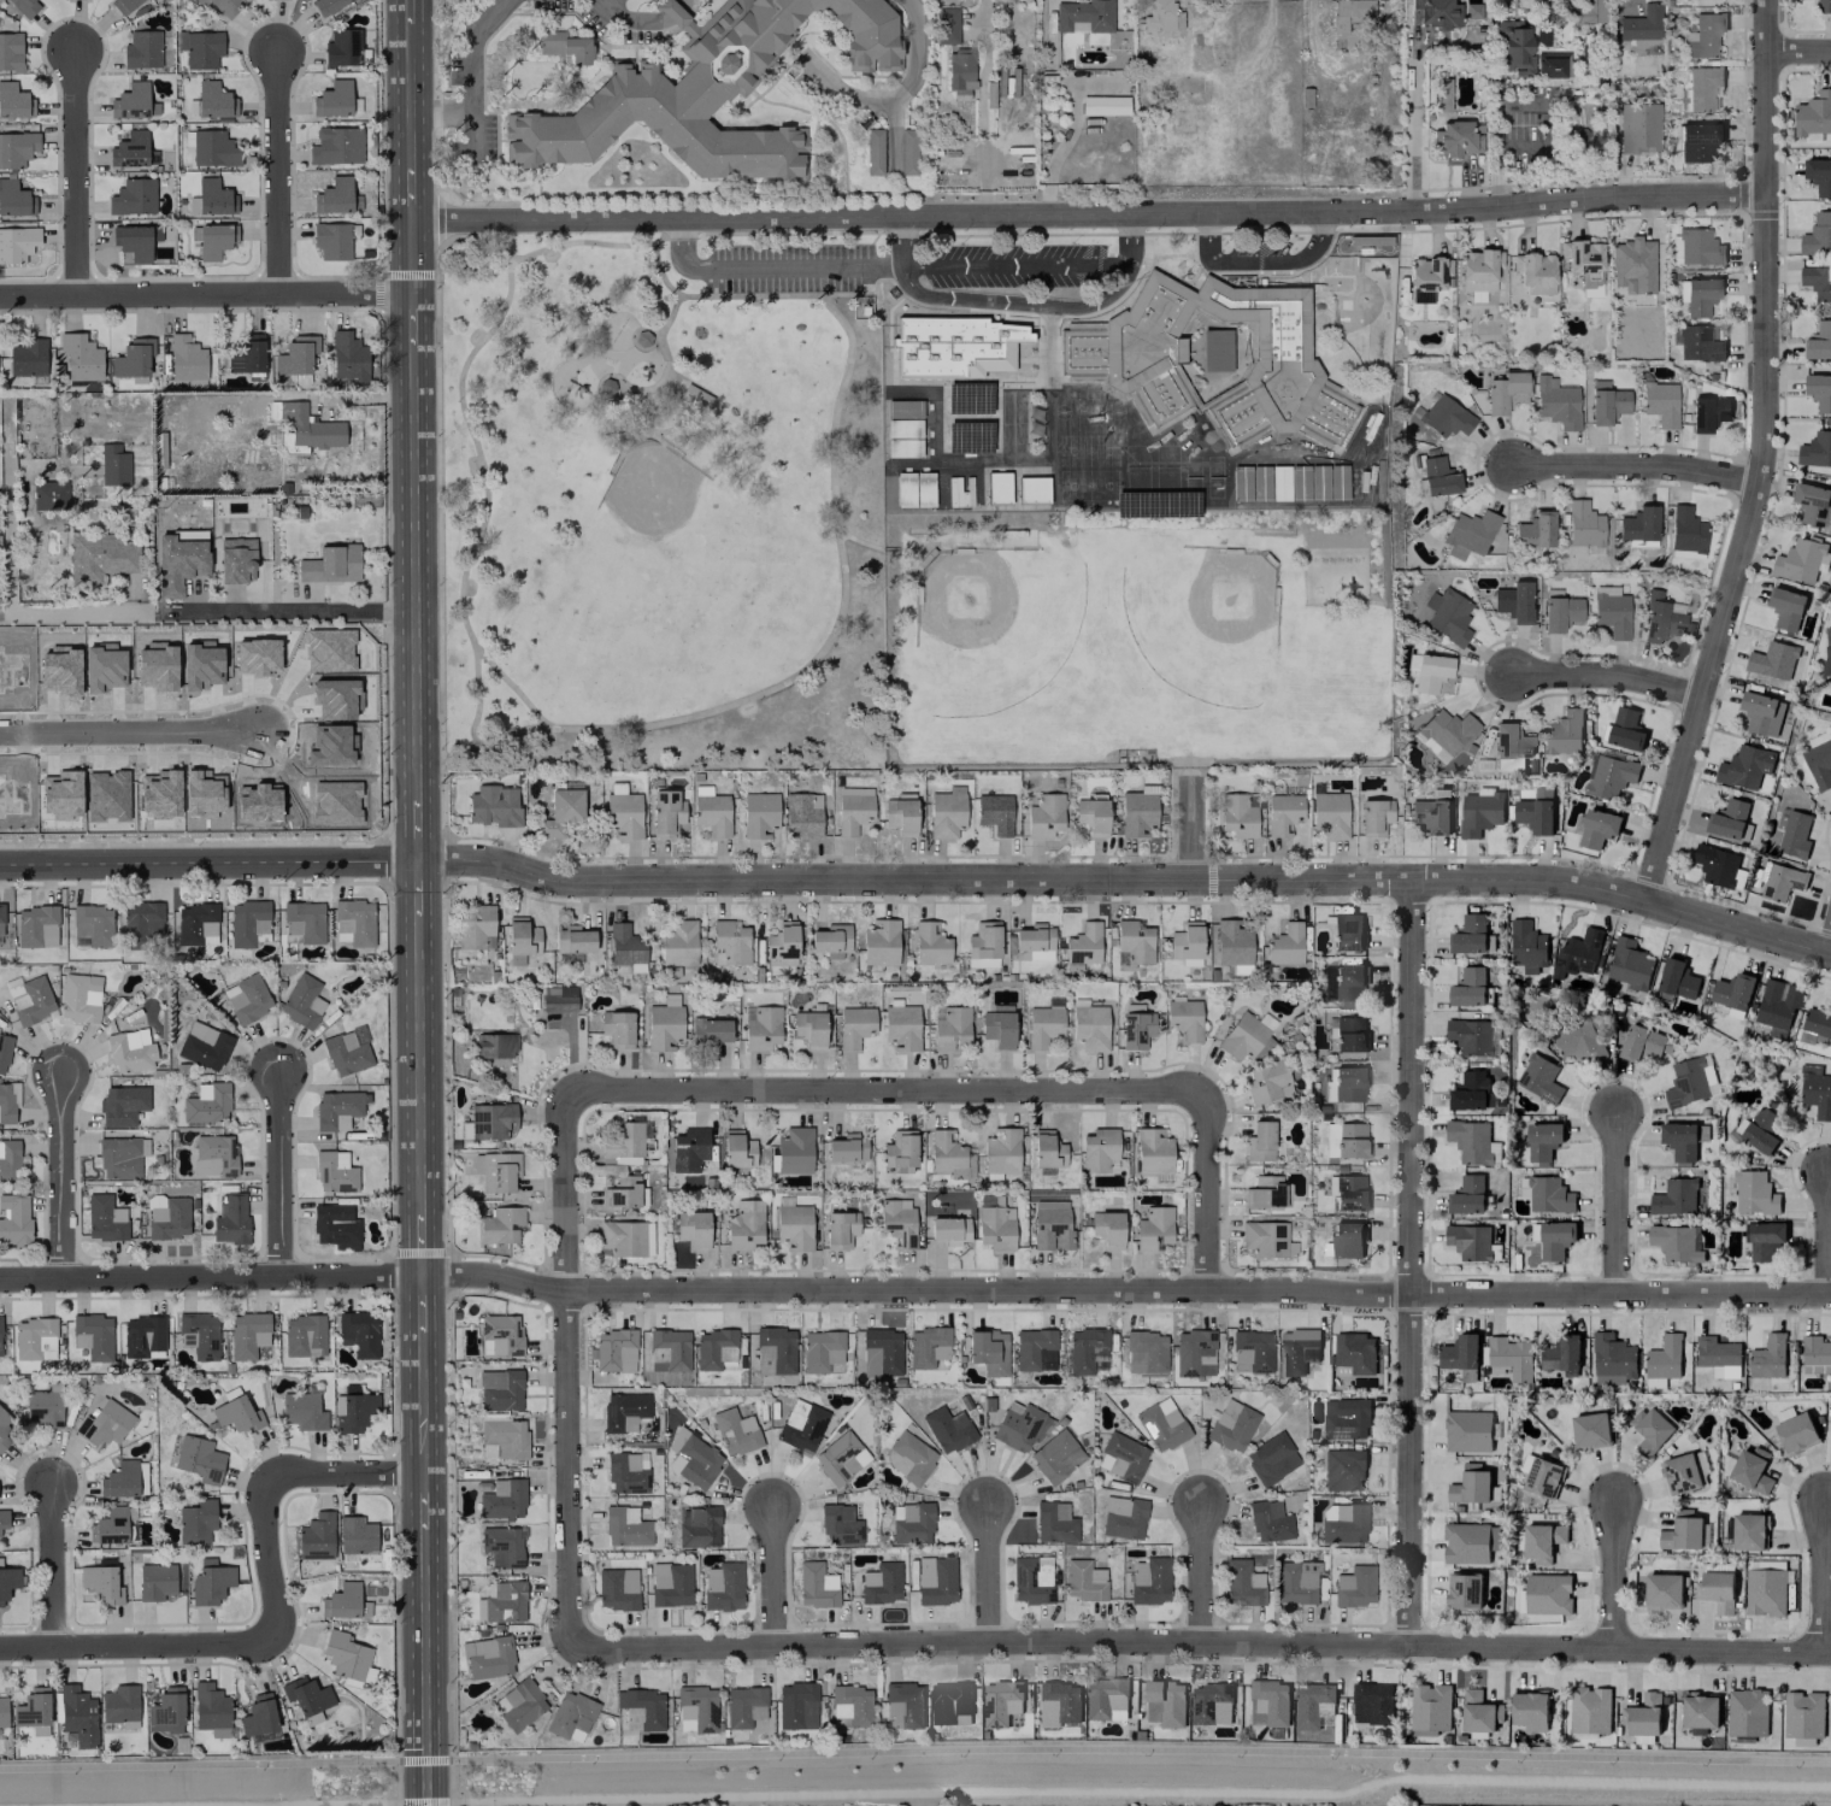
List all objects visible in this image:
building: (123, 5)
building: (222, 5)
building: (328, 5)
building: (23, 6)
road: (612, 6)
building: (1824, 6)
building: (1472, 8)
building: (1586, 11)
building: (1349, 13)
building: (1435, 13)
building: (1161, 14)
building: (1083, 16)
building: (1639, 23)
building: (946, 25)
building: (1542, 35)
building: (1705, 35)
building: (564, 46)
building: (1641, 46)
building: (342, 47)
building: (1513, 47)
building: (199, 48)
building: (141, 49)
building: (10, 51)
road: (1797, 52)
building: (1549, 64)
building: (960, 69)
road: (470, 80)
building: (1702, 87)
building: (705, 89)
building: (1441, 94)
building: (332, 98)
building: (213, 100)
road: (895, 100)
building: (13, 101)
building: (129, 101)
building: (1103, 105)
road: (981, 106)
building: (1814, 113)
building: (1181, 123)
building: (1637, 127)
road: (1414, 131)
building: (1452, 137)
building: (1697, 141)
building: (335, 145)
building: (16, 148)
building: (129, 148)
building: (213, 148)
building: (873, 151)
building: (907, 151)
road: (77, 170)
road: (279, 172)
building: (1819, 176)
building: (332, 195)
building: (133, 196)
building: (213, 196)
building: (14, 199)
road: (1088, 214)
road: (825, 231)
building: (1818, 234)
road: (678, 236)
building: (334, 239)
building: (214, 240)
road: (1125, 240)
building: (131, 241)
building: (17, 242)
building: (1698, 247)
road: (499, 248)
road: (681, 252)
road: (1260, 261)
building: (1583, 263)
building: (1632, 264)
road: (987, 265)
road: (787, 267)
parking lot: (788, 267)
building: (1478, 269)
building: (1535, 271)
road: (388, 273)
building: (1426, 277)
road: (819, 281)
building: (1817, 281)
road: (206, 295)
road: (746, 295)
building: (1700, 296)
road: (1011, 302)
building: (642, 339)
building: (1819, 341)
building: (1697, 343)
building: (1002, 346)
building: (247, 354)
building: (295, 354)
building: (27, 357)
building: (80, 357)
building: (133, 357)
building: (347, 357)
building: (186, 358)
building: (605, 386)
building: (1819, 390)
building: (697, 392)
building: (1505, 392)
building: (1555, 402)
building: (1605, 402)
building: (1660, 402)
building: (902, 408)
building: (1707, 412)
road: (694, 416)
building: (1444, 417)
building: (306, 425)
road: (467, 427)
building: (1815, 449)
road: (1762, 458)
building: (113, 464)
road: (1641, 466)
building: (1437, 476)
road: (437, 481)
building: (48, 494)
park: (663, 499)
building: (1812, 502)
building: (1583, 524)
building: (1637, 526)
building: (1533, 529)
building: (1467, 533)
building: (1685, 533)
road: (858, 541)
park: (666, 542)
building: (99, 557)
building: (178, 559)
building: (236, 559)
building: (1801, 560)
building: (330, 564)
building: (1513, 601)
building: (1785, 608)
building: (1611, 611)
road: (330, 612)
building: (1559, 613)
road: (114, 614)
building: (1447, 616)
building: (1659, 619)
building: (98, 640)
building: (1826, 651)
building: (1772, 660)
building: (1430, 672)
road: (1605, 675)
road: (784, 680)
building: (1761, 713)
road: (129, 729)
building: (1625, 729)
building: (1564, 731)
building: (1443, 733)
building: (1509, 742)
road: (458, 749)
building: (1819, 760)
building: (1744, 767)
building: (1609, 776)
building: (853, 790)
building: (493, 805)
building: (622, 811)
building: (1479, 811)
building: (560, 812)
building: (665, 812)
building: (852, 812)
building: (994, 812)
building: (1137, 812)
building: (712, 813)
building: (759, 813)
building: (802, 813)
building: (1283, 813)
building: (944, 814)
building: (1043, 814)
building: (1327, 814)
building: (1431, 814)
building: (900, 816)
building: (1091, 816)
building: (1236, 816)
building: (1374, 816)
building: (1533, 816)
building: (1730, 822)
road: (1191, 828)
building: (1597, 828)
building: (1794, 835)
building: (1715, 865)
building: (1780, 881)
road: (918, 884)
road: (419, 902)
building: (0, 918)
building: (304, 920)
building: (246, 922)
building: (353, 922)
building: (141, 923)
building: (92, 924)
building: (196, 924)
building: (36, 925)
building: (475, 926)
building: (1346, 931)
building: (1471, 935)
building: (520, 939)
building: (573, 939)
building: (830, 940)
building: (1034, 941)
building: (1134, 941)
building: (729, 942)
building: (879, 942)
building: (1231, 942)
building: (678, 943)
building: (782, 943)
building: (930, 943)
building: (1185, 943)
building: (1284, 943)
building: (624, 945)
building: (983, 945)
building: (1082, 946)
building: (1526, 946)
road: (1830, 951)
building: (1577, 953)
building: (1629, 964)
building: (1677, 978)
building: (1348, 982)
building: (1468, 988)
building: (1732, 990)
building: (78, 996)
building: (246, 998)
building: (558, 998)
building: (34, 1000)
building: (301, 1001)
building: (1777, 1004)
building: (1184, 1018)
building: (1817, 1022)
building: (663, 1023)
building: (854, 1025)
building: (1042, 1025)
building: (1135, 1025)
building: (617, 1026)
building: (901, 1026)
building: (1089, 1026)
building: (761, 1028)
building: (808, 1028)
building: (950, 1028)
building: (997, 1028)
building: (710, 1029)
building: (1244, 1034)
building: (1349, 1034)
building: (1473, 1036)
building: (1580, 1039)
building: (1643, 1043)
building: (204, 1045)
building: (493, 1045)
building: (4, 1051)
building: (128, 1051)
building: (345, 1052)
building: (1538, 1080)
building: (1267, 1082)
building: (1348, 1083)
building: (1686, 1083)
building: (1329, 1084)
road: (884, 1086)
building: (1470, 1092)
building: (1815, 1092)
building: (7, 1102)
building: (206, 1102)
building: (122, 1104)
building: (337, 1108)
building: (490, 1120)
building: (1761, 1130)
building: (1344, 1139)
building: (1470, 1140)
building: (1679, 1140)
building: (1259, 1141)
building: (1542, 1141)
building: (846, 1147)
building: (688, 1148)
building: (736, 1148)
building: (900, 1148)
building: (1097, 1148)
building: (794, 1149)
building: (1046, 1149)
building: (1000, 1151)
building: (1152, 1151)
building: (946, 1153)
building: (213, 1154)
building: (120, 1155)
building: (334, 1171)
building: (496, 1171)
road: (279, 1172)
road: (63, 1175)
road: (1208, 1189)
building: (1264, 1192)
building: (622, 1193)
building: (1348, 1193)
building: (1754, 1193)
building: (1467, 1195)
building: (1548, 1195)
building: (1673, 1198)
road: (1617, 1202)
building: (166, 1216)
building: (104, 1217)
building: (14, 1219)
building: (230, 1219)
building: (897, 1220)
building: (501, 1224)
building: (1050, 1224)
building: (744, 1225)
building: (331, 1226)
building: (794, 1226)
building: (995, 1226)
building: (693, 1228)
building: (840, 1228)
building: (1106, 1228)
building: (1153, 1228)
building: (949, 1229)
road: (1826, 1230)
building: (1264, 1237)
building: (1347, 1239)
building: (1555, 1239)
building: (1764, 1239)
building: (1470, 1241)
building: (1676, 1242)
road: (1409, 1265)
road: (914, 1290)
building: (358, 1333)
building: (501, 1333)
building: (198, 1334)
building: (247, 1334)
building: (92, 1335)
building: (141, 1335)
building: (304, 1335)
building: (34, 1339)
building: (926, 1346)
building: (714, 1348)
building: (614, 1349)
building: (667, 1349)
building: (820, 1349)
building: (1034, 1349)
building: (1297, 1349)
building: (773, 1351)
building: (988, 1351)
building: (1085, 1351)
building: (1250, 1351)
building: (1815, 1351)
building: (0, 1352)
building: (881, 1352)
building: (1144, 1352)
building: (1354, 1352)
building: (1459, 1352)
building: (1194, 1353)
building: (1561, 1353)
building: (1511, 1357)
building: (1718, 1357)
building: (1768, 1358)
building: (1612, 1359)
building: (1662, 1361)
road: (567, 1366)
building: (499, 1389)
building: (43, 1407)
building: (623, 1410)
building: (301, 1411)
building: (355, 1412)
building: (237, 1414)
building: (1783, 1414)
building: (1344, 1418)
building: (104, 1423)
building: (1161, 1424)
building: (800, 1425)
building: (1019, 1425)
building: (1231, 1425)
building: (4, 1429)
building: (947, 1429)
building: (1590, 1430)
building: (1650, 1430)
building: (735, 1431)
building: (1467, 1431)
building: (1796, 1433)
building: (504, 1436)
building: (908, 1457)
building: (1055, 1457)
building: (1121, 1457)
building: (693, 1458)
building: (840, 1458)
building: (1270, 1458)
building: (199, 1459)
building: (1343, 1470)
building: (1751, 1470)
building: (626, 1471)
road: (343, 1473)
building: (1679, 1475)
building: (1541, 1476)
building: (120, 1479)
building: (1470, 1486)
building: (502, 1499)
building: (1121, 1517)
building: (4, 1518)
building: (196, 1520)
building: (1268, 1520)
building: (1053, 1522)
building: (1342, 1523)
building: (838, 1524)
building: (912, 1524)
building: (697, 1525)
building: (110, 1526)
building: (625, 1526)
building: (1749, 1531)
building: (1684, 1533)
building: (355, 1536)
building: (316, 1537)
building: (1470, 1542)
building: (1541, 1542)
building: (502, 1546)
road: (269, 1563)
road: (53, 1564)
road: (988, 1571)
road: (1200, 1573)
road: (773, 1576)
road: (1824, 1576)
road: (1614, 1577)
building: (1031, 1579)
building: (1083, 1579)
building: (1149, 1579)
building: (155, 1581)
building: (1294, 1581)
building: (8, 1582)
building: (210, 1582)
building: (881, 1582)
building: (101, 1583)
building: (670, 1583)
building: (938, 1583)
building: (1242, 1583)
building: (816, 1586)
building: (1354, 1586)
building: (722, 1587)
building: (617, 1588)
building: (1464, 1590)
building: (1715, 1590)
building: (1662, 1592)
building: (1765, 1592)
building: (1547, 1594)
building: (342, 1600)
building: (502, 1602)
road: (134, 1643)
road: (1200, 1646)
building: (345, 1655)
building: (488, 1657)
building: (307, 1696)
building: (1107, 1699)
building: (1000, 1702)
building: (1268, 1702)
building: (1372, 1702)
building: (119, 1704)
building: (519, 1704)
building: (850, 1704)
building: (905, 1704)
building: (950, 1704)
building: (1060, 1704)
building: (1165, 1704)
building: (1211, 1704)
building: (796, 1705)
building: (1312, 1705)
building: (643, 1706)
building: (743, 1706)
building: (210, 1707)
building: (33, 1708)
building: (695, 1708)
building: (1429, 1708)
building: (1530, 1710)
building: (1589, 1710)
building: (166, 1711)
building: (1700, 1711)
building: (2, 1712)
building: (1479, 1712)
building: (1747, 1712)
building: (77, 1714)
building: (1803, 1714)
building: (570, 1716)
building: (1643, 1716)
building: (258, 1718)
road: (914, 1752)

